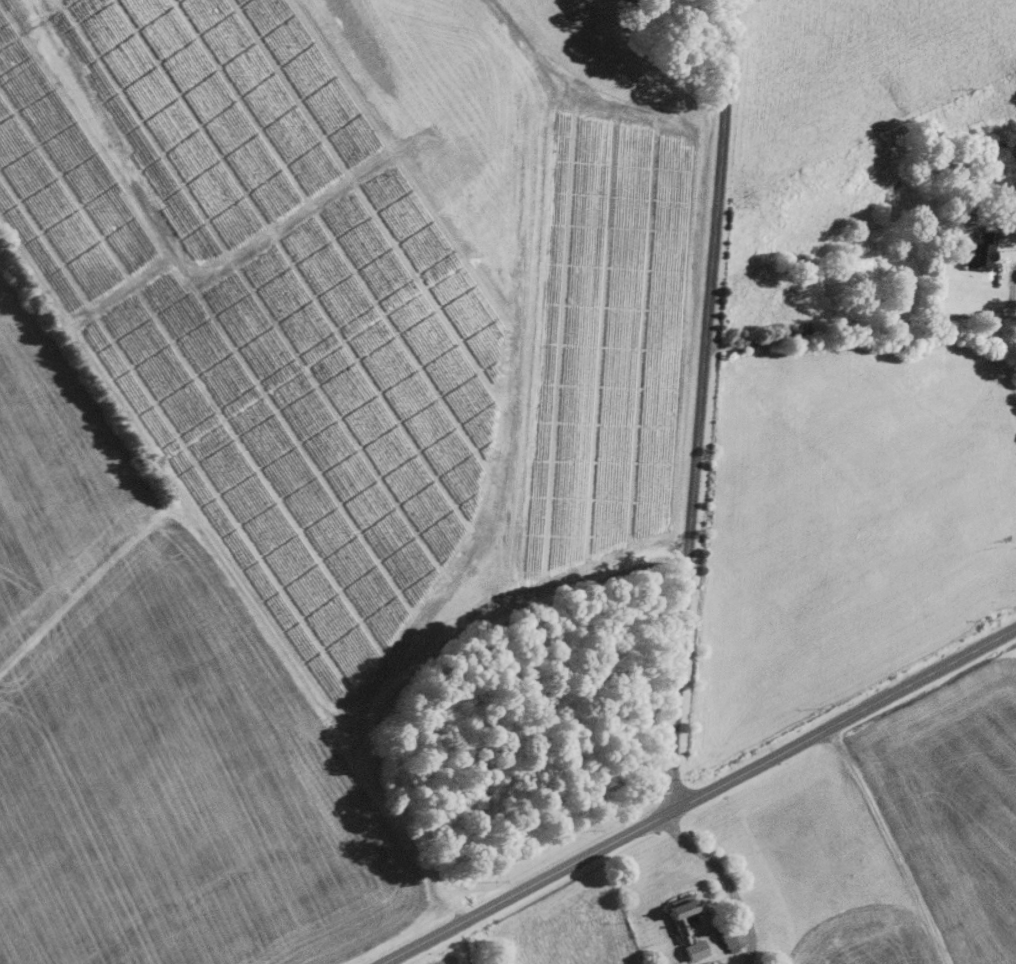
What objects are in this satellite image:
crop: (848, 135)
building: (975, 255)
road: (873, 328)
road: (698, 405)
road: (181, 504)
road: (679, 547)
road: (520, 609)
road: (697, 796)
crop: (886, 831)
road: (889, 843)
crop: (567, 922)
building: (685, 924)
building: (727, 941)

